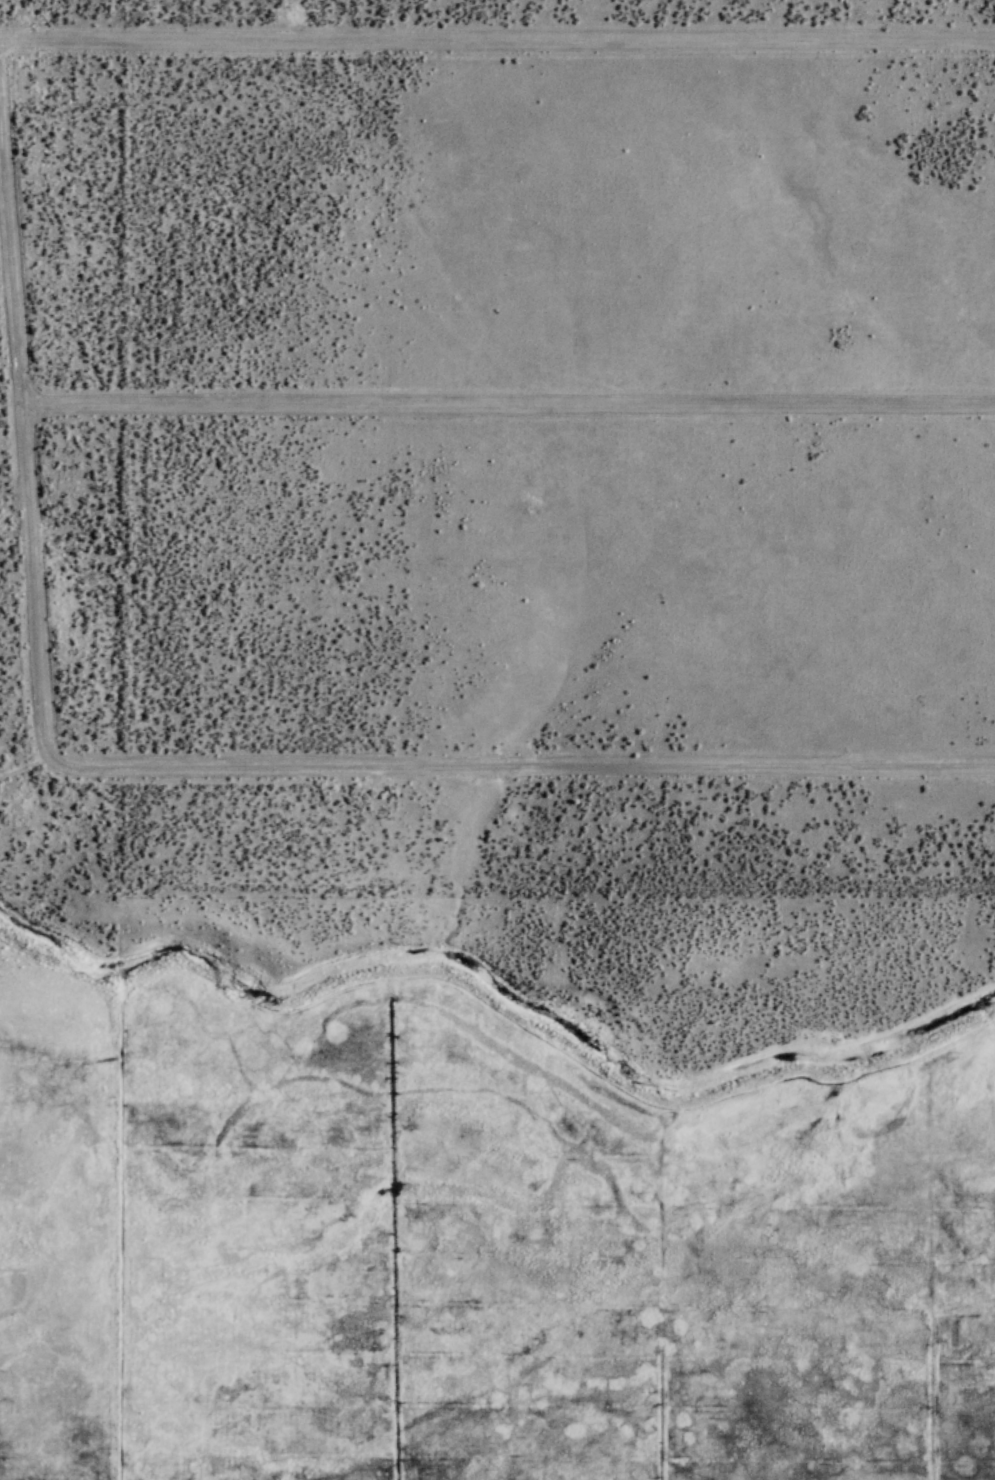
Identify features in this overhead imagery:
road: (497, 43)
road: (510, 411)
road: (27, 416)
road: (523, 770)

